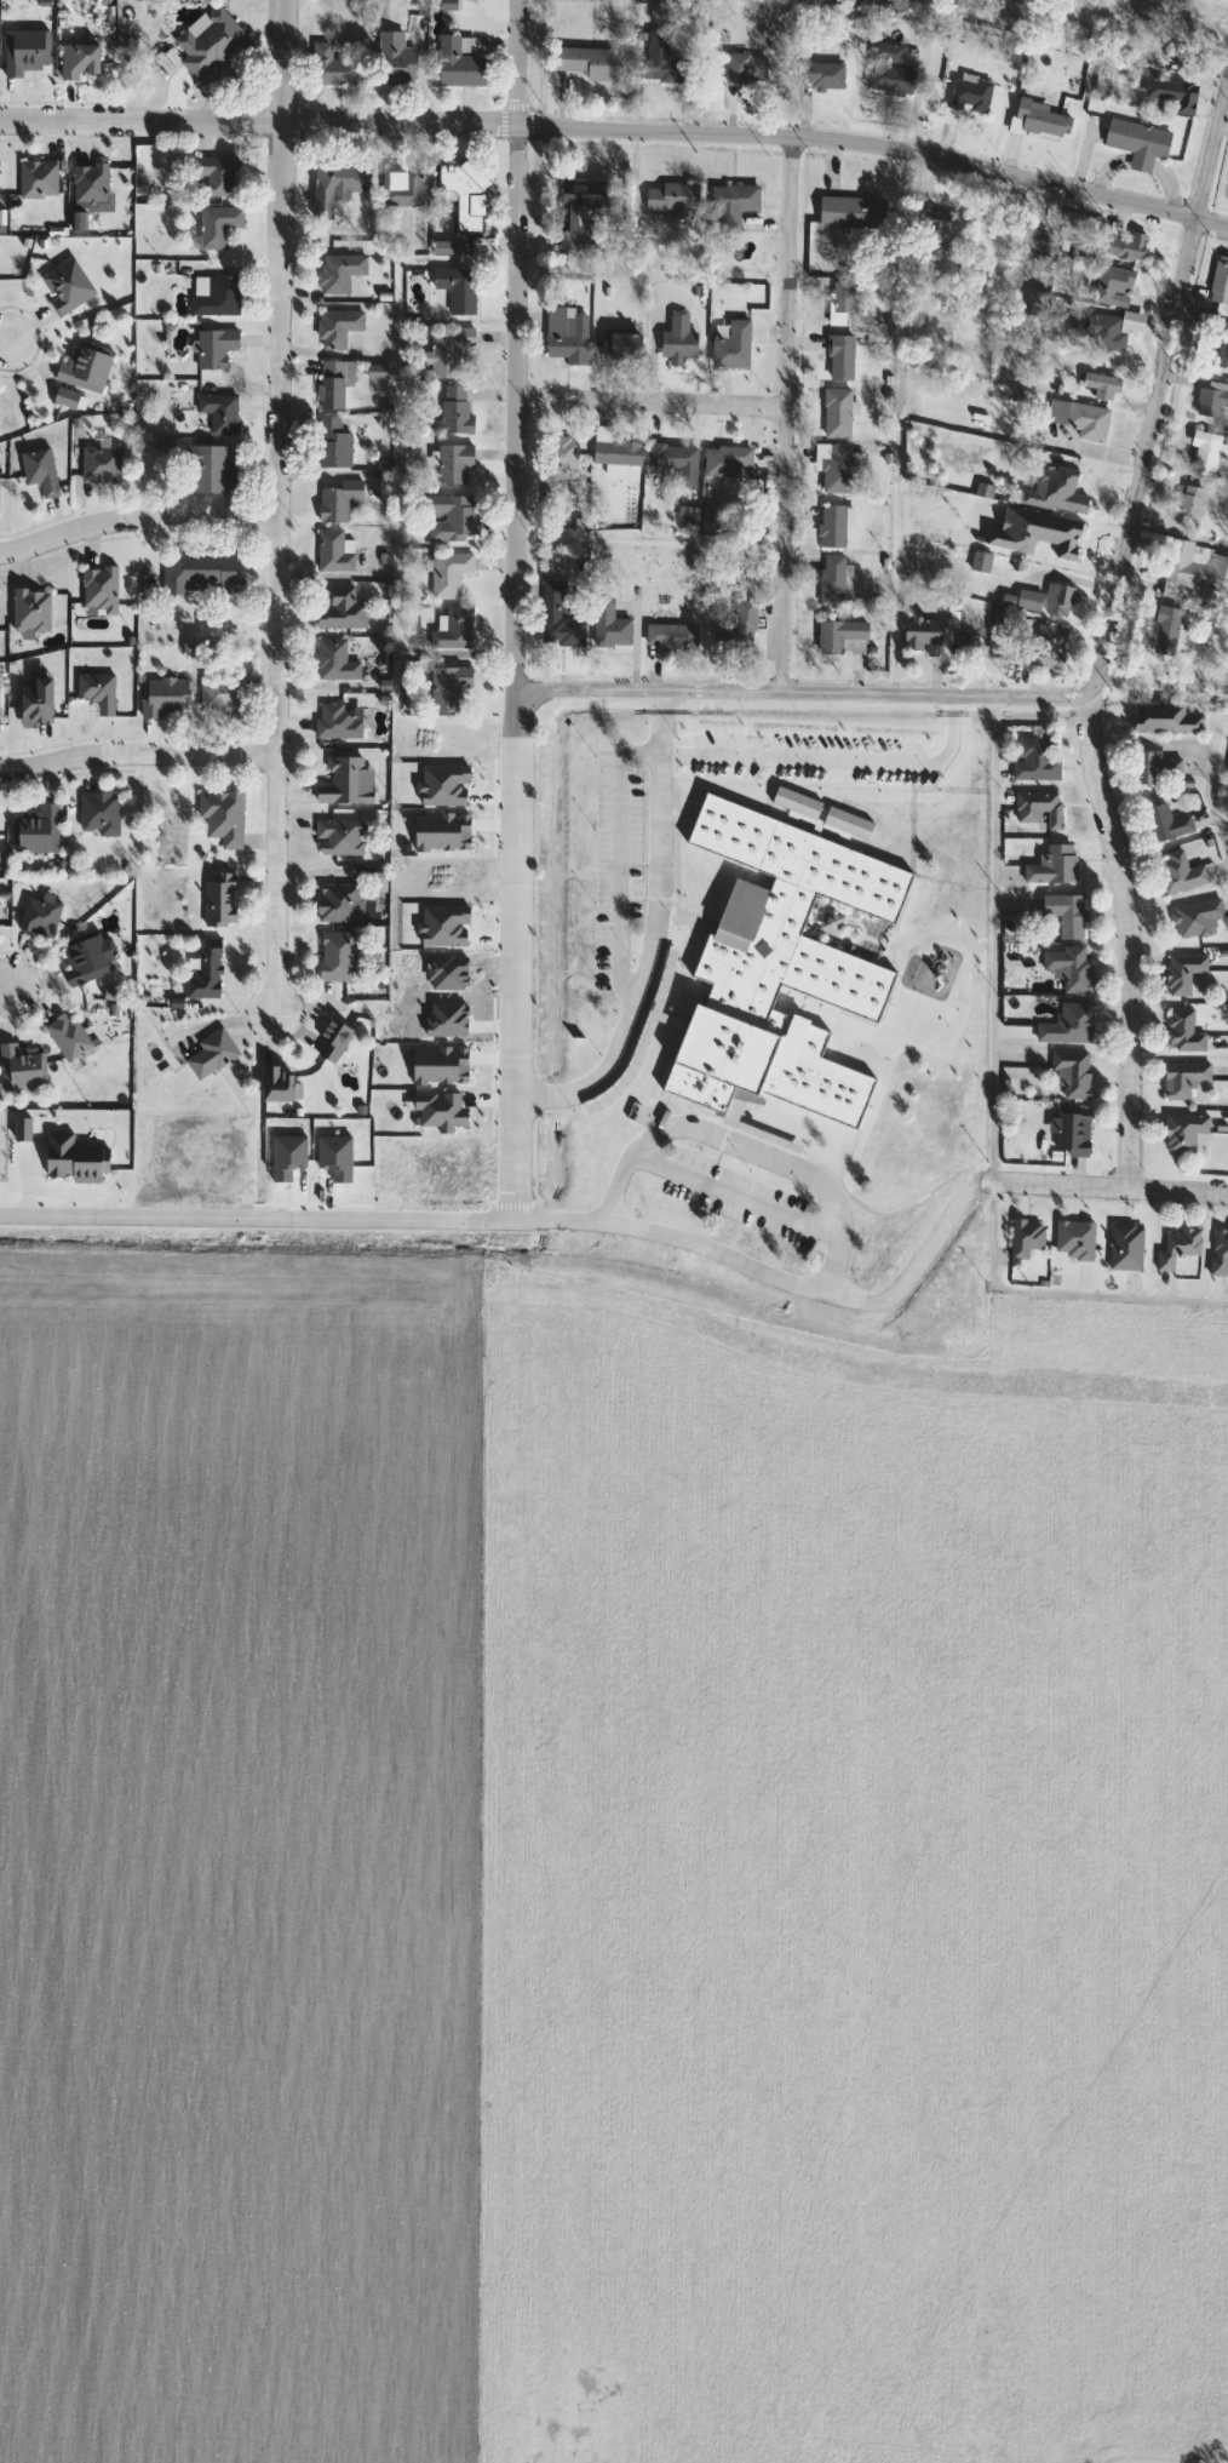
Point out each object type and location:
building: (1186, 23)
building: (208, 44)
building: (24, 52)
building: (661, 61)
building: (1181, 62)
building: (78, 63)
building: (586, 63)
building: (395, 64)
building: (458, 64)
building: (332, 67)
building: (745, 69)
building: (888, 71)
building: (816, 73)
building: (1176, 96)
building: (964, 97)
road: (59, 121)
building: (1040, 121)
road: (677, 133)
building: (1136, 143)
building: (216, 176)
building: (36, 179)
building: (339, 181)
building: (88, 184)
building: (402, 187)
building: (463, 193)
building: (578, 201)
building: (670, 201)
building: (731, 206)
building: (850, 213)
building: (216, 227)
building: (933, 231)
building: (1123, 245)
building: (448, 250)
building: (337, 273)
building: (1220, 281)
building: (1111, 286)
building: (64, 287)
building: (455, 290)
building: (213, 297)
building: (839, 304)
building: (335, 328)
building: (1108, 331)
building: (566, 336)
road: (8, 340)
building: (1213, 340)
building: (676, 342)
building: (620, 344)
building: (213, 348)
building: (731, 348)
building: (446, 351)
building: (839, 359)
building: (84, 368)
road: (1160, 384)
building: (331, 386)
building: (1097, 386)
building: (64, 399)
building: (1210, 400)
road: (652, 402)
building: (452, 409)
building: (836, 413)
building: (216, 416)
road: (787, 416)
building: (1075, 419)
building: (332, 443)
building: (1203, 452)
building: (615, 453)
building: (671, 458)
building: (724, 460)
building: (557, 463)
building: (99, 464)
building: (453, 464)
building: (833, 466)
building: (38, 471)
building: (208, 471)
building: (1054, 491)
building: (337, 502)
building: (1188, 506)
road: (279, 510)
building: (451, 519)
road: (137, 521)
building: (833, 526)
building: (333, 551)
building: (1194, 566)
building: (202, 572)
building: (447, 574)
building: (831, 580)
building: (98, 589)
building: (1041, 600)
building: (337, 607)
road: (515, 607)
building: (29, 611)
building: (556, 618)
building: (608, 626)
building: (452, 629)
building: (736, 630)
building: (1163, 630)
building: (922, 636)
building: (670, 637)
building: (840, 637)
building: (966, 646)
building: (1044, 649)
building: (334, 661)
building: (447, 687)
building: (96, 692)
road: (801, 693)
building: (220, 695)
building: (162, 697)
building: (34, 703)
building: (1163, 718)
building: (335, 721)
road: (1203, 744)
road: (136, 754)
building: (1034, 760)
building: (1153, 768)
building: (344, 783)
building: (794, 803)
building: (1038, 809)
building: (98, 814)
building: (220, 817)
building: (1164, 823)
building: (847, 824)
building: (35, 830)
building: (338, 837)
building: (1051, 865)
building: (1178, 873)
building: (217, 899)
building: (337, 903)
building: (1063, 913)
building: (38, 916)
building: (1195, 918)
road: (652, 936)
road: (1130, 939)
road: (989, 940)
building: (770, 946)
building: (335, 956)
building: (84, 960)
building: (1067, 969)
building: (205, 970)
building: (1181, 973)
road: (1, 989)
road: (224, 1021)
building: (1073, 1023)
building: (1182, 1032)
building: (65, 1036)
building: (329, 1041)
building: (210, 1054)
building: (18, 1066)
building: (1071, 1073)
building: (1182, 1078)
building: (274, 1084)
building: (1071, 1132)
building: (1182, 1132)
road: (793, 1168)
road: (1106, 1187)
road: (731, 1192)
road: (251, 1232)
building: (1025, 1238)
building: (1074, 1239)
building: (1124, 1247)
building: (1176, 1249)
building: (1218, 1253)
road: (912, 1272)
road: (1058, 1290)
road: (1171, 2459)

